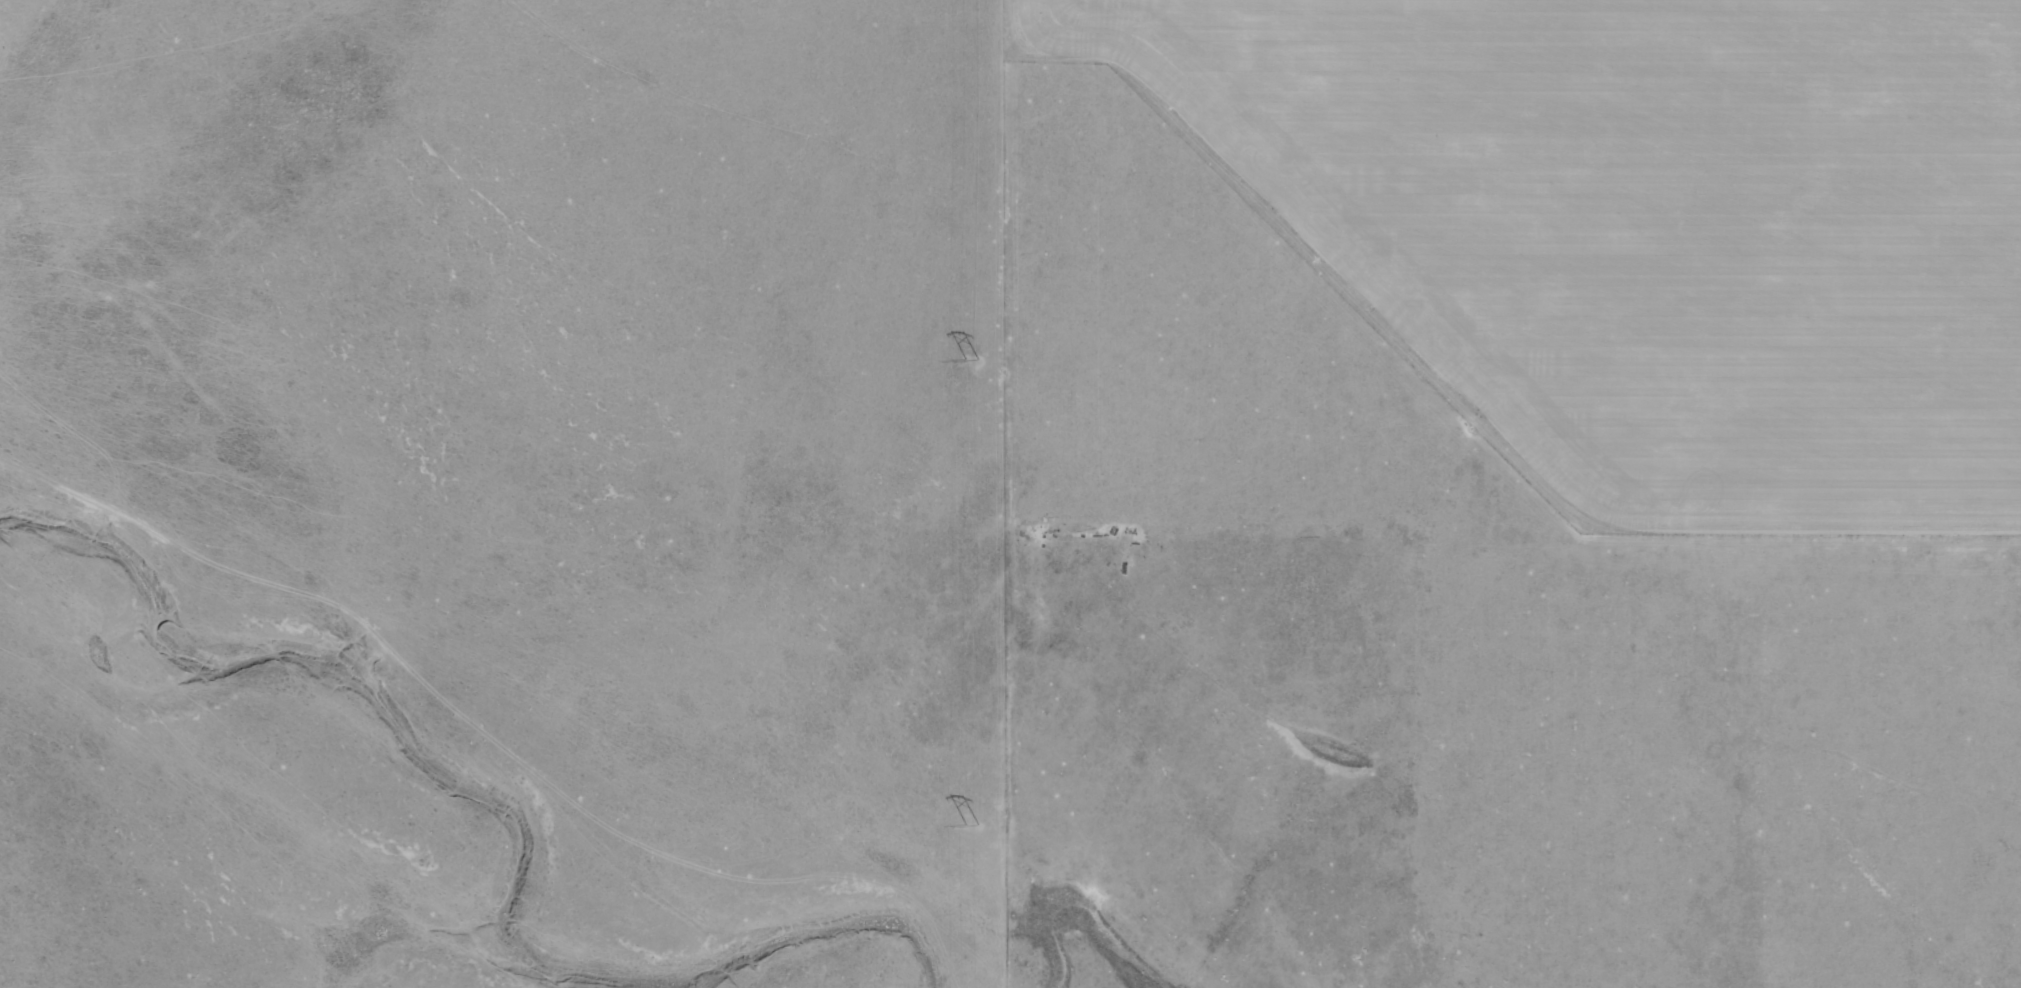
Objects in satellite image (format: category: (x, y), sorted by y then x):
power tower: (969, 363)
road: (1362, 492)
road: (1002, 577)
power tower: (973, 824)

